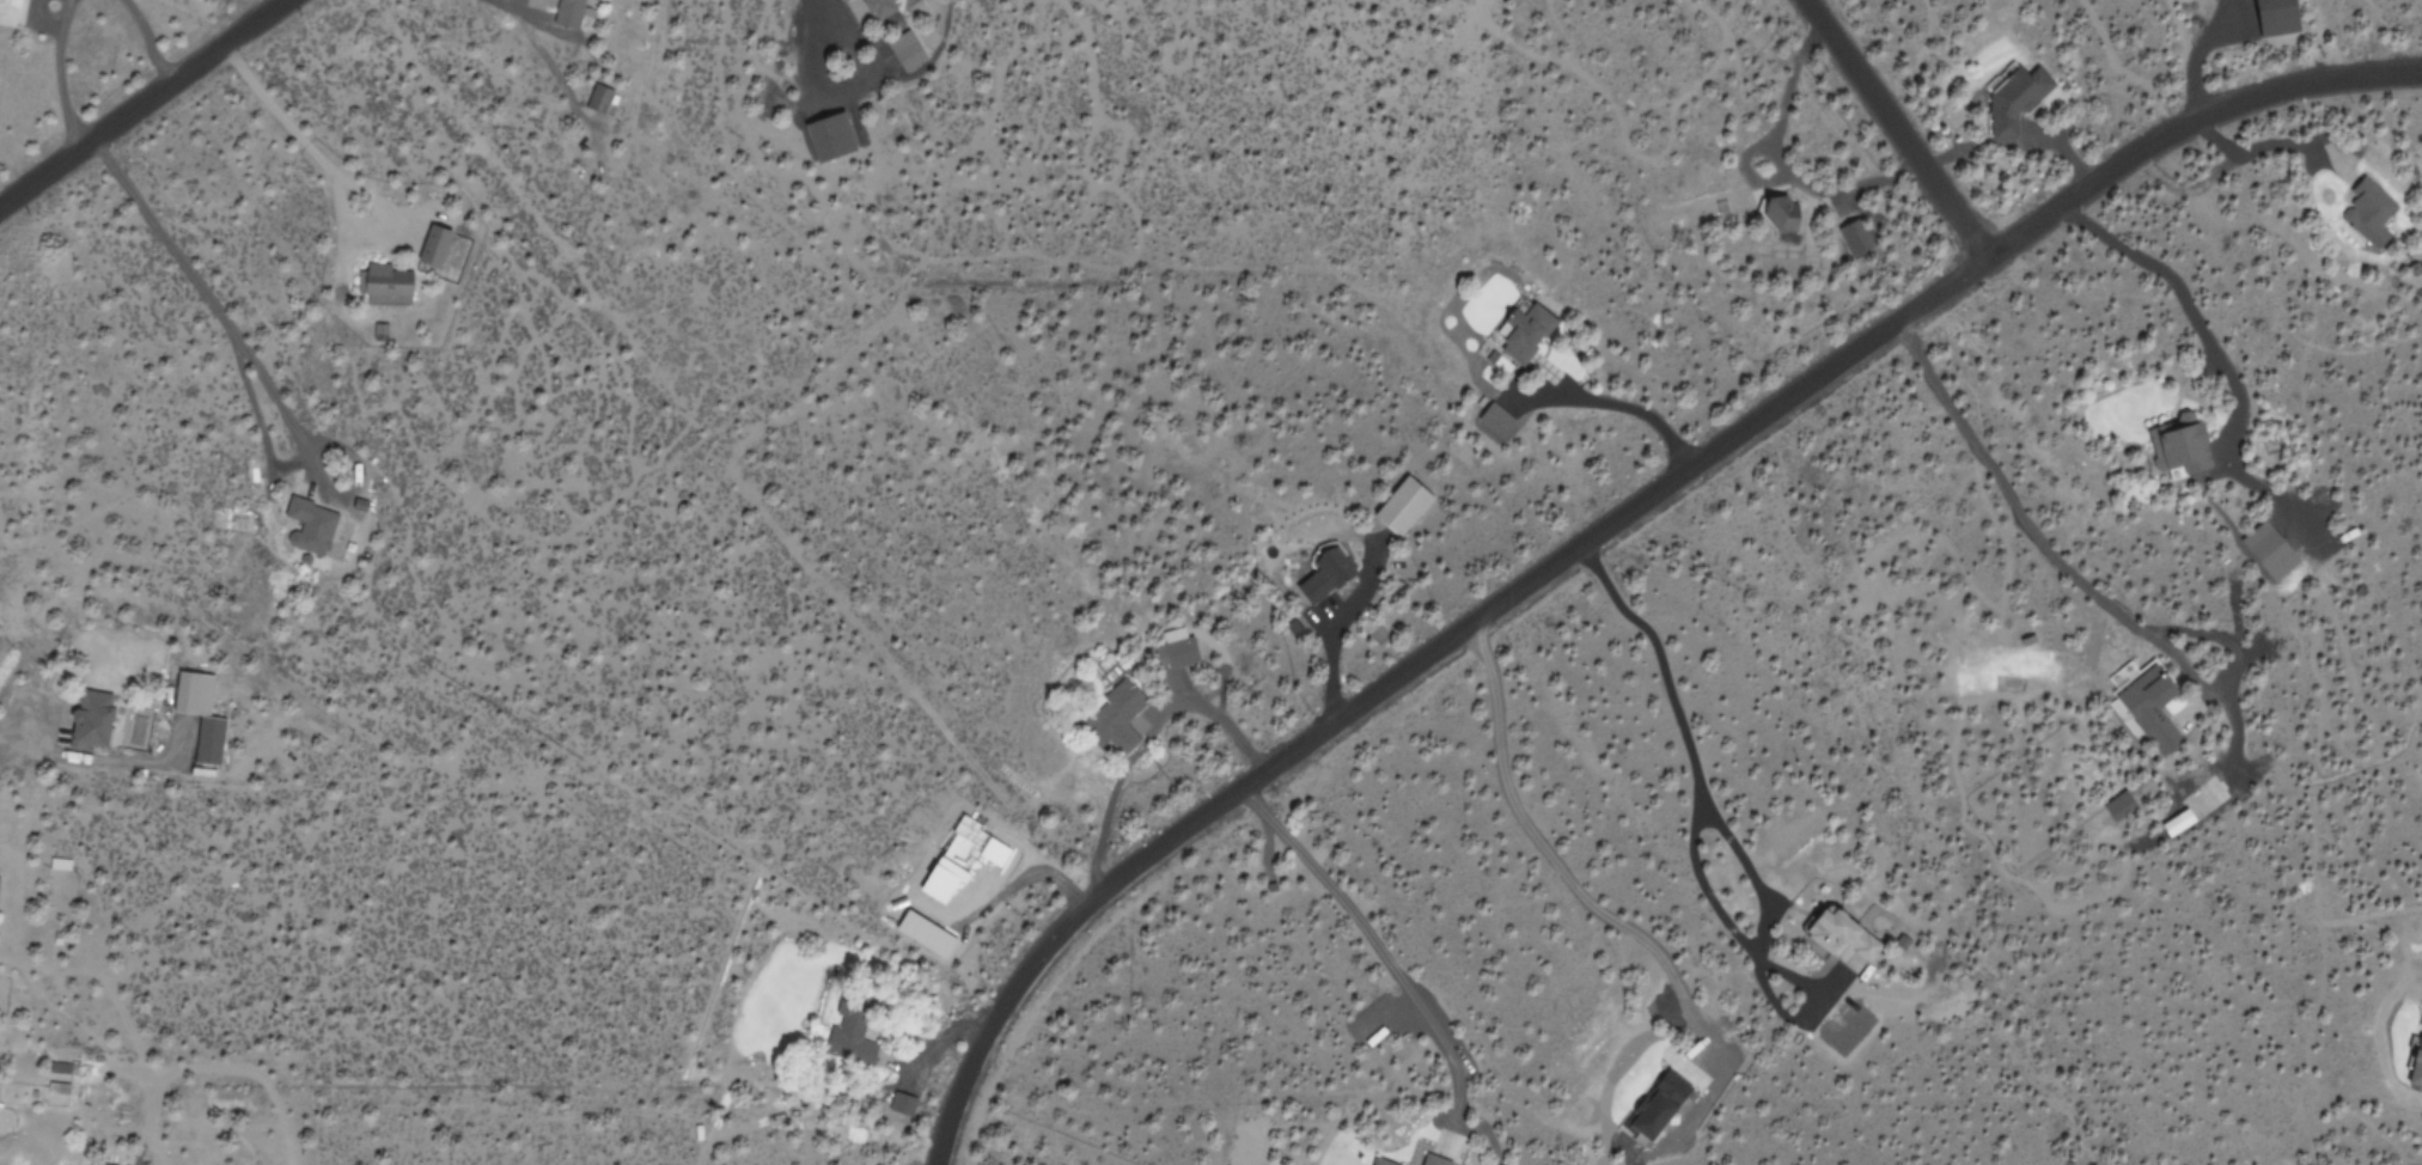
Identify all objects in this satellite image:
building: (878, 8)
building: (566, 13)
building: (2278, 17)
building: (904, 51)
building: (2013, 96)
road: (135, 97)
building: (596, 99)
road: (1905, 126)
building: (828, 139)
building: (1780, 214)
building: (2367, 214)
building: (1847, 242)
building: (432, 246)
building: (384, 281)
building: (382, 331)
building: (1523, 334)
building: (1493, 419)
building: (2179, 445)
building: (1401, 505)
building: (307, 525)
road: (1609, 529)
building: (2268, 550)
building: (1324, 572)
building: (1173, 648)
building: (2149, 707)
building: (1116, 716)
building: (87, 721)
building: (207, 740)
building: (2115, 801)
building: (2180, 822)
building: (945, 877)
building: (0, 883)
building: (927, 934)
building: (1841, 938)
building: (848, 1042)
building: (2416, 1065)
building: (1665, 1094)
building: (899, 1103)
building: (1432, 1160)
building: (1379, 1163)

